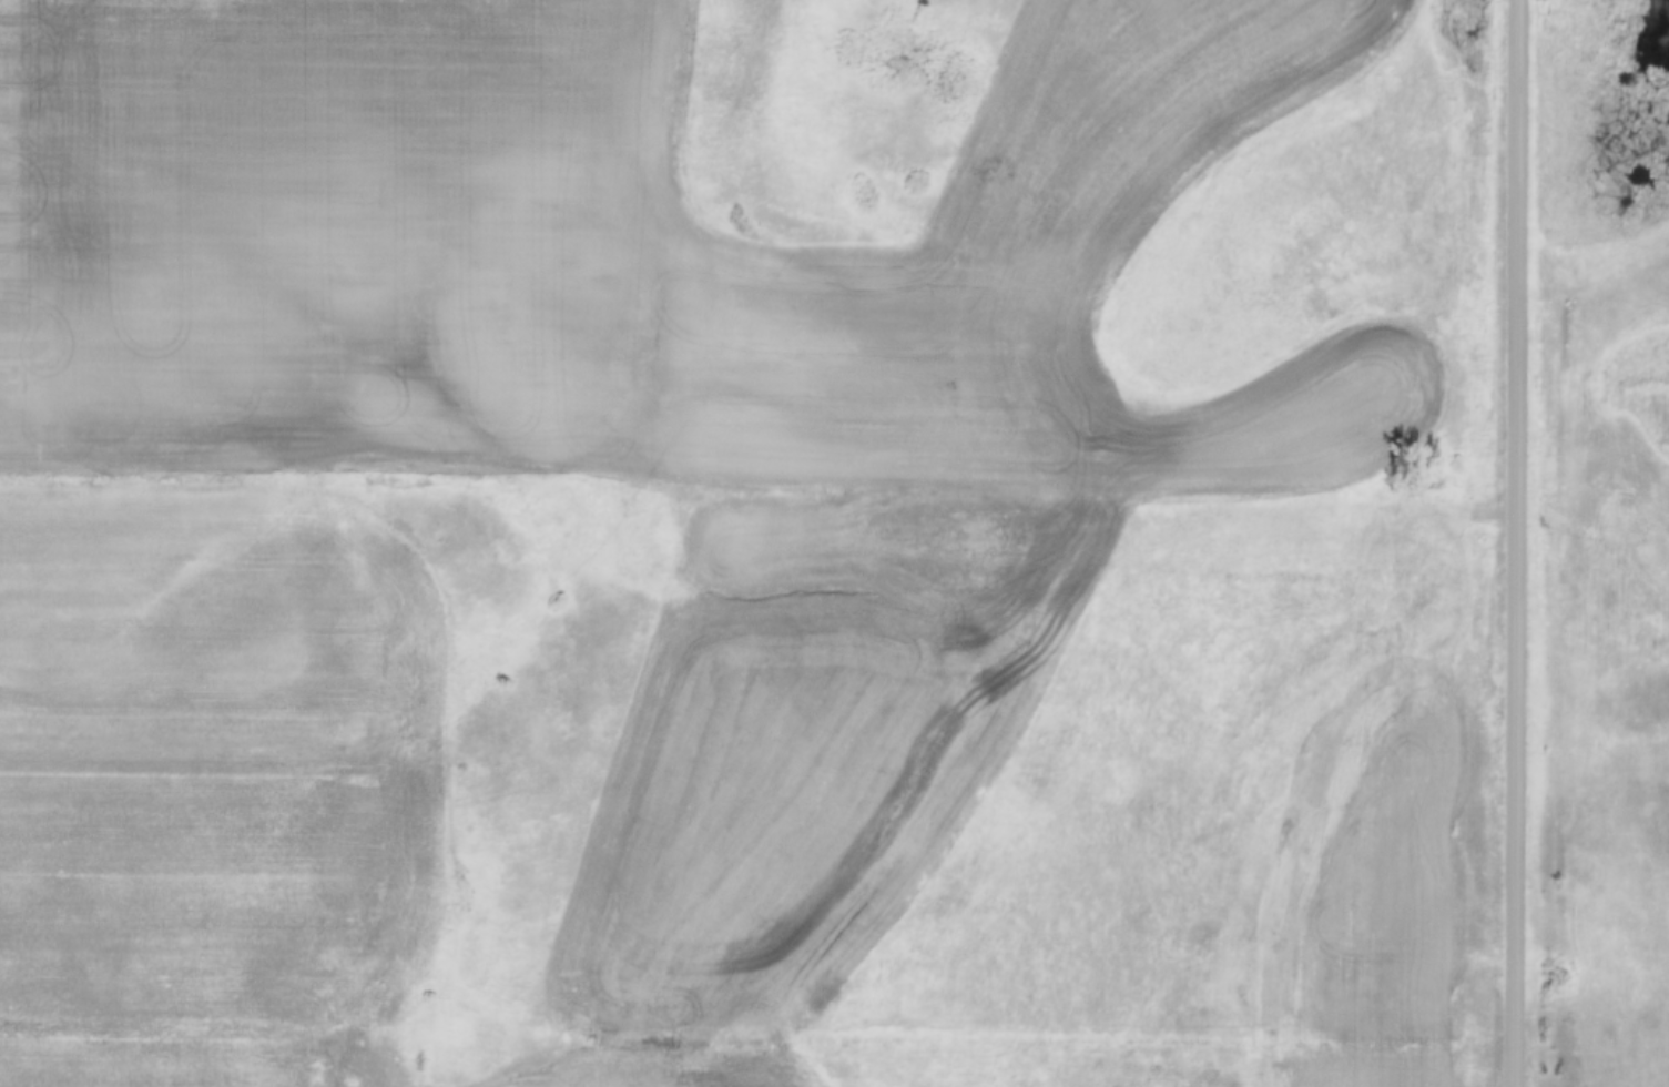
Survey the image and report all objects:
road: (1519, 543)

